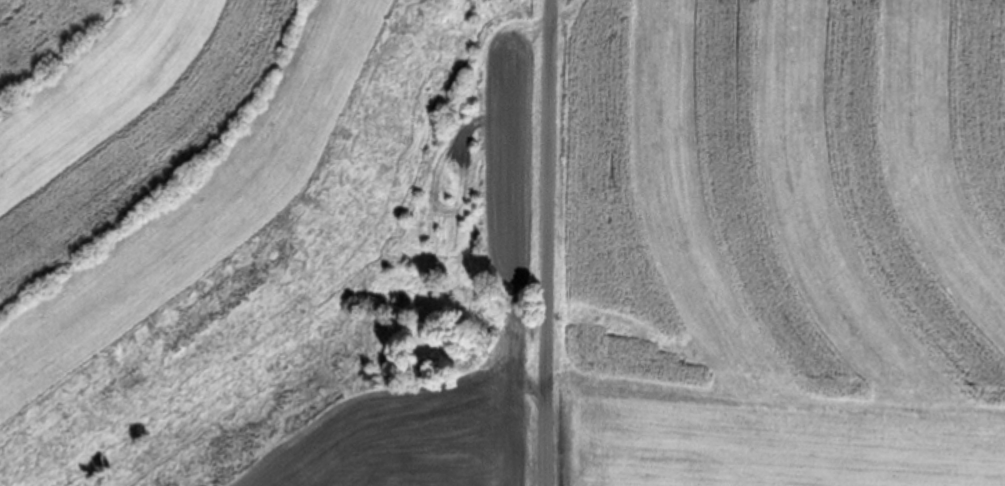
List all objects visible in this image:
road: (553, 243)

